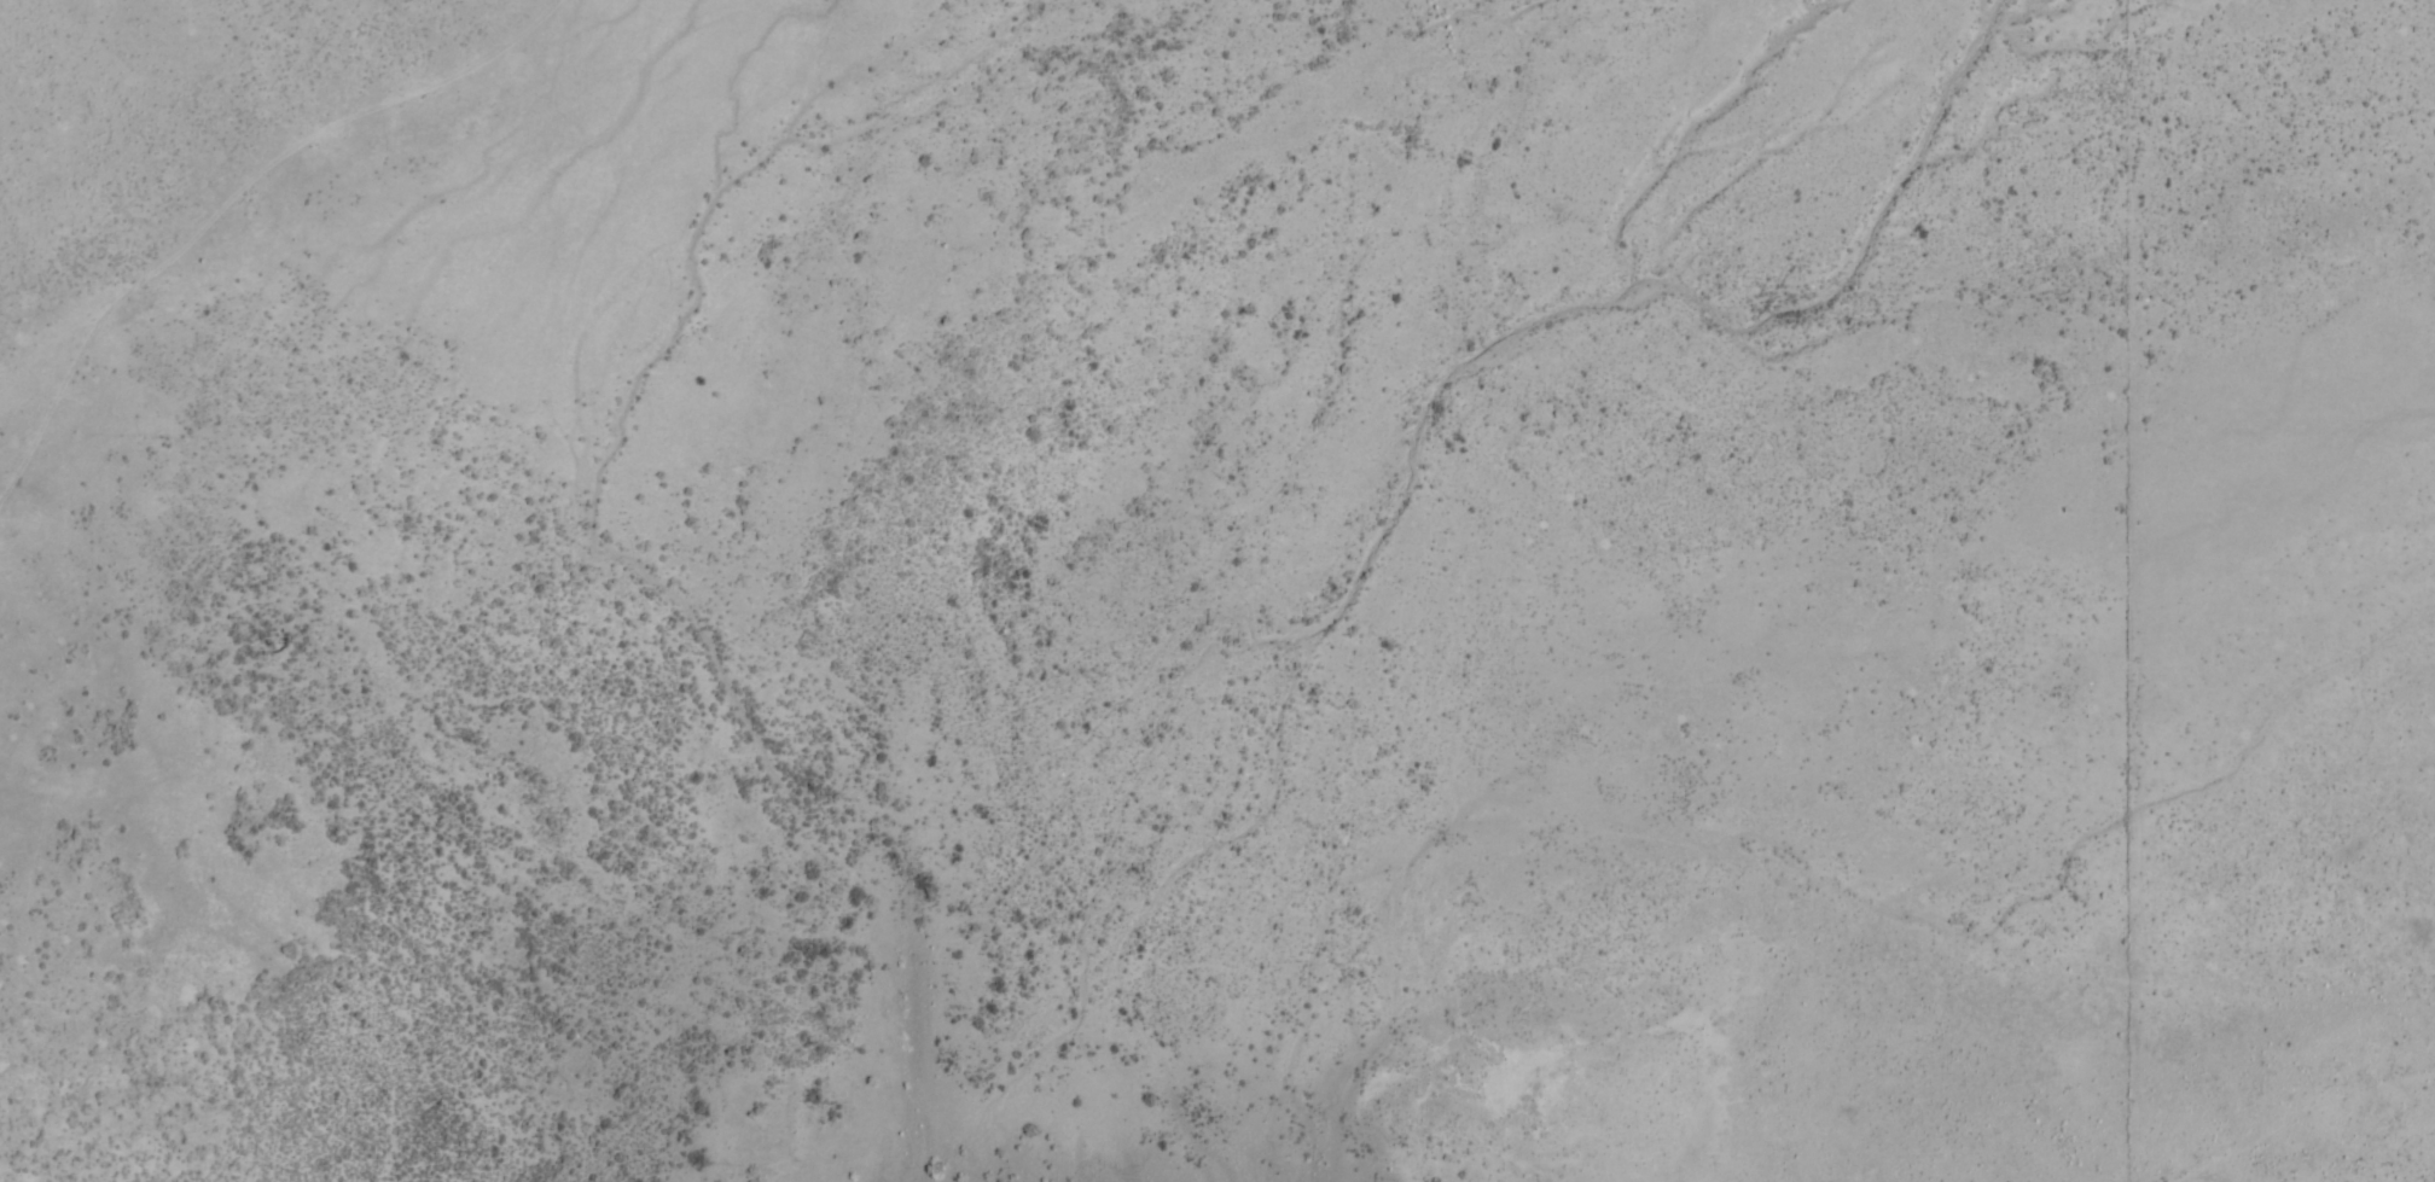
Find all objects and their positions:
river: (612, 588)

